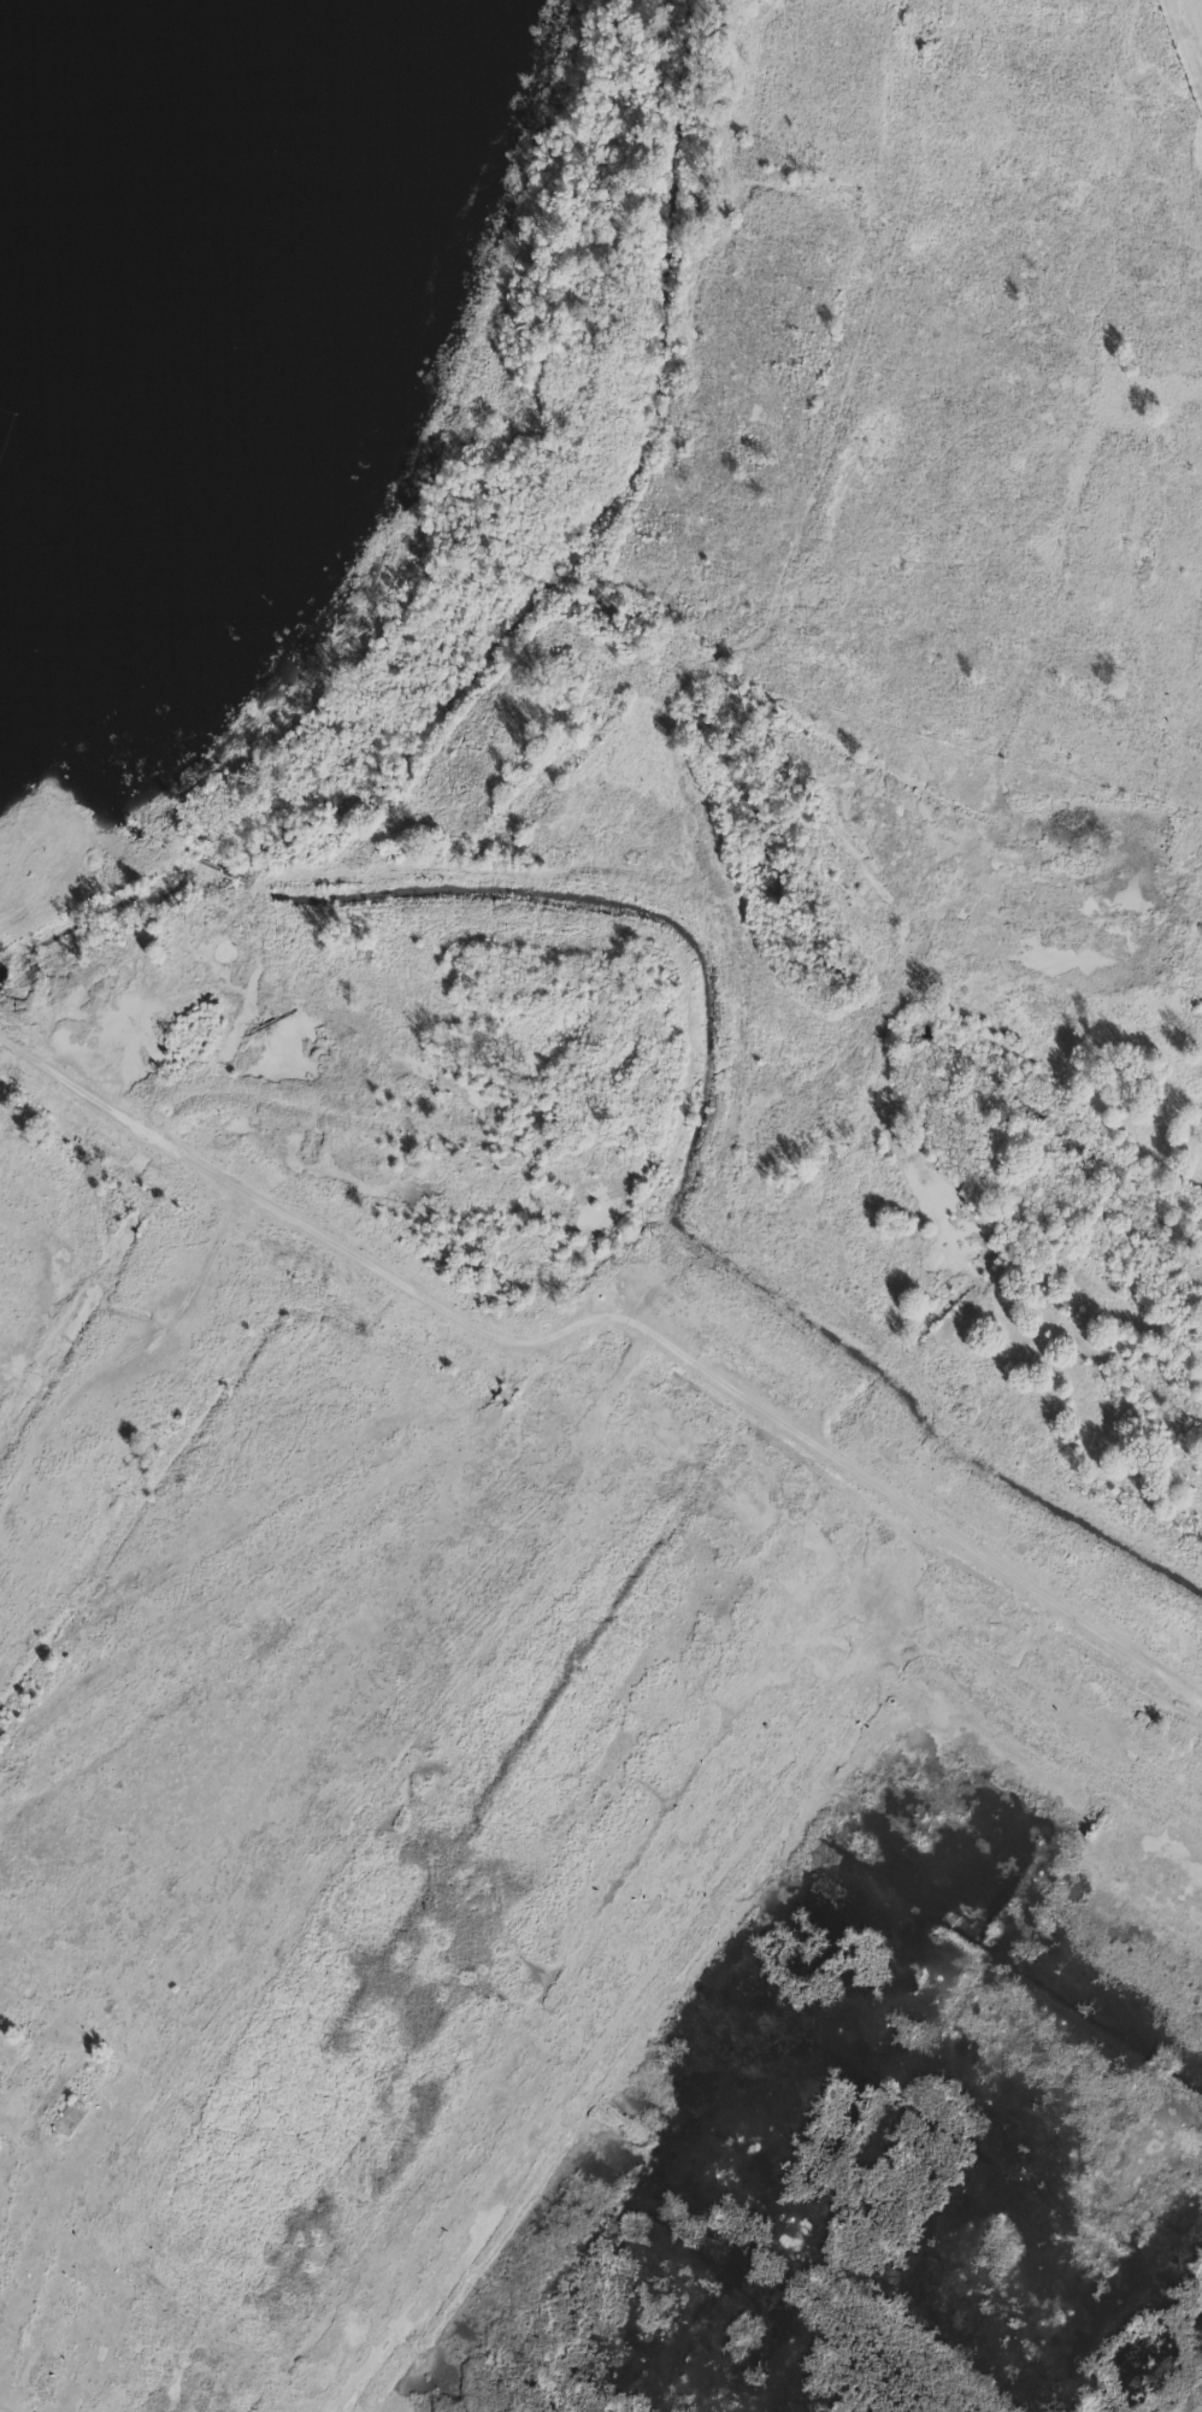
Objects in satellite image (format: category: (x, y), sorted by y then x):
airport: (1189, 31)
road: (614, 1320)
road: (246, 1548)

